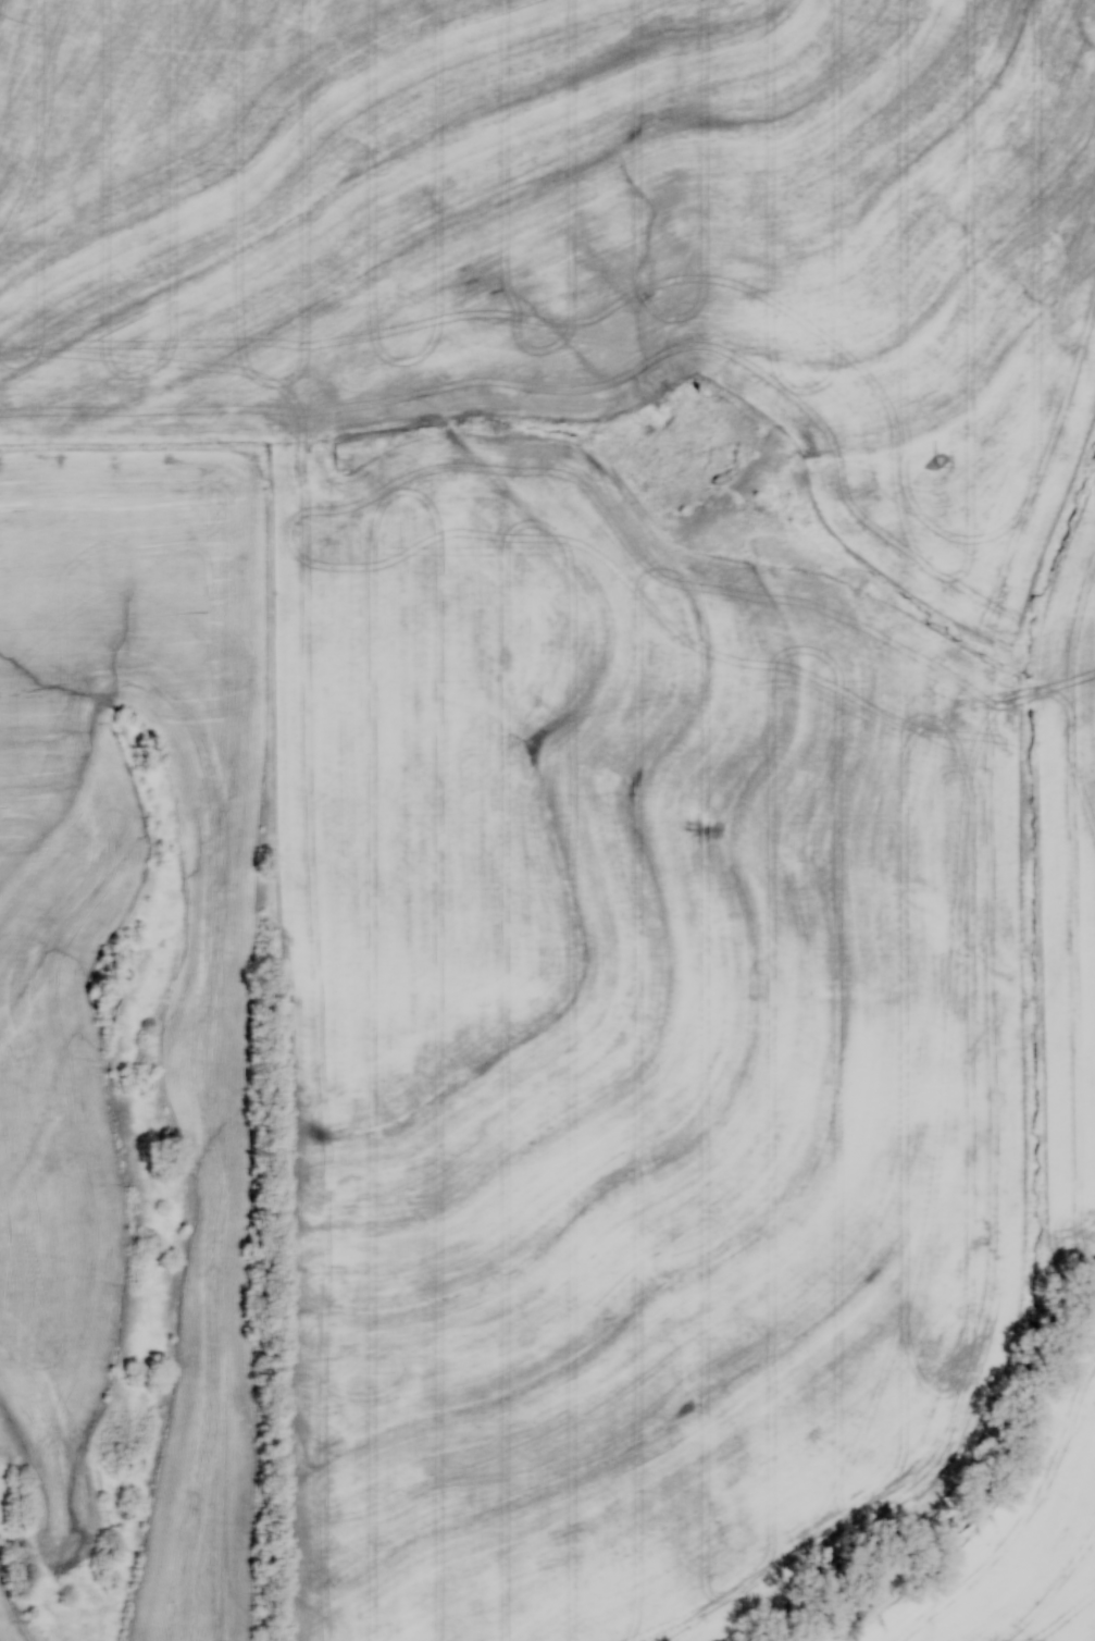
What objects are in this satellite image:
power tower: (937, 461)
power tower: (336, 465)

